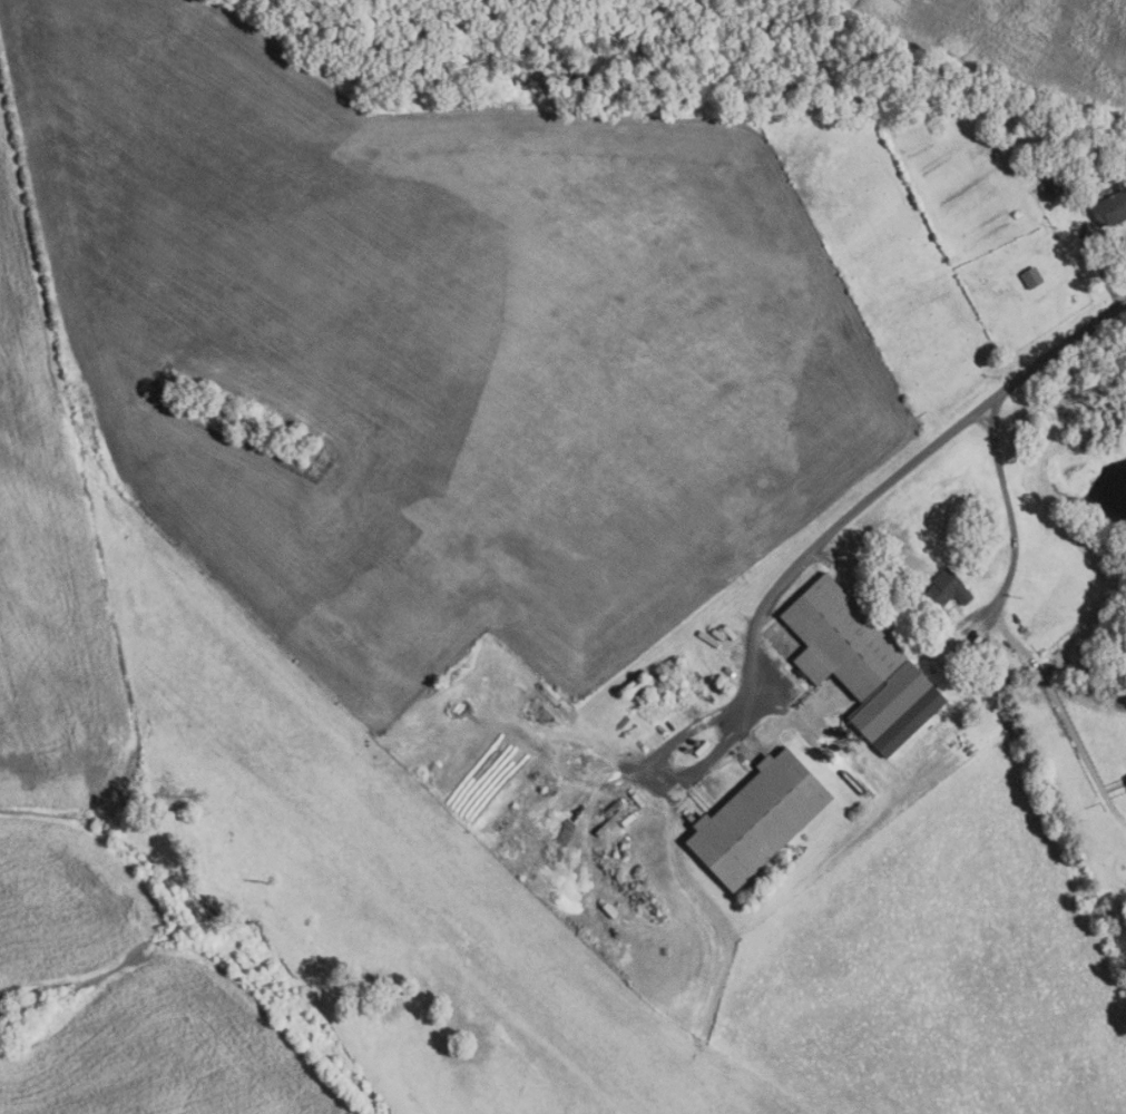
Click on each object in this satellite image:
building: (1123, 156)
building: (1055, 186)
building: (1110, 209)
road: (1101, 267)
building: (1032, 277)
road: (878, 492)
road: (1006, 507)
building: (946, 592)
building: (841, 639)
building: (898, 710)
building: (760, 820)

